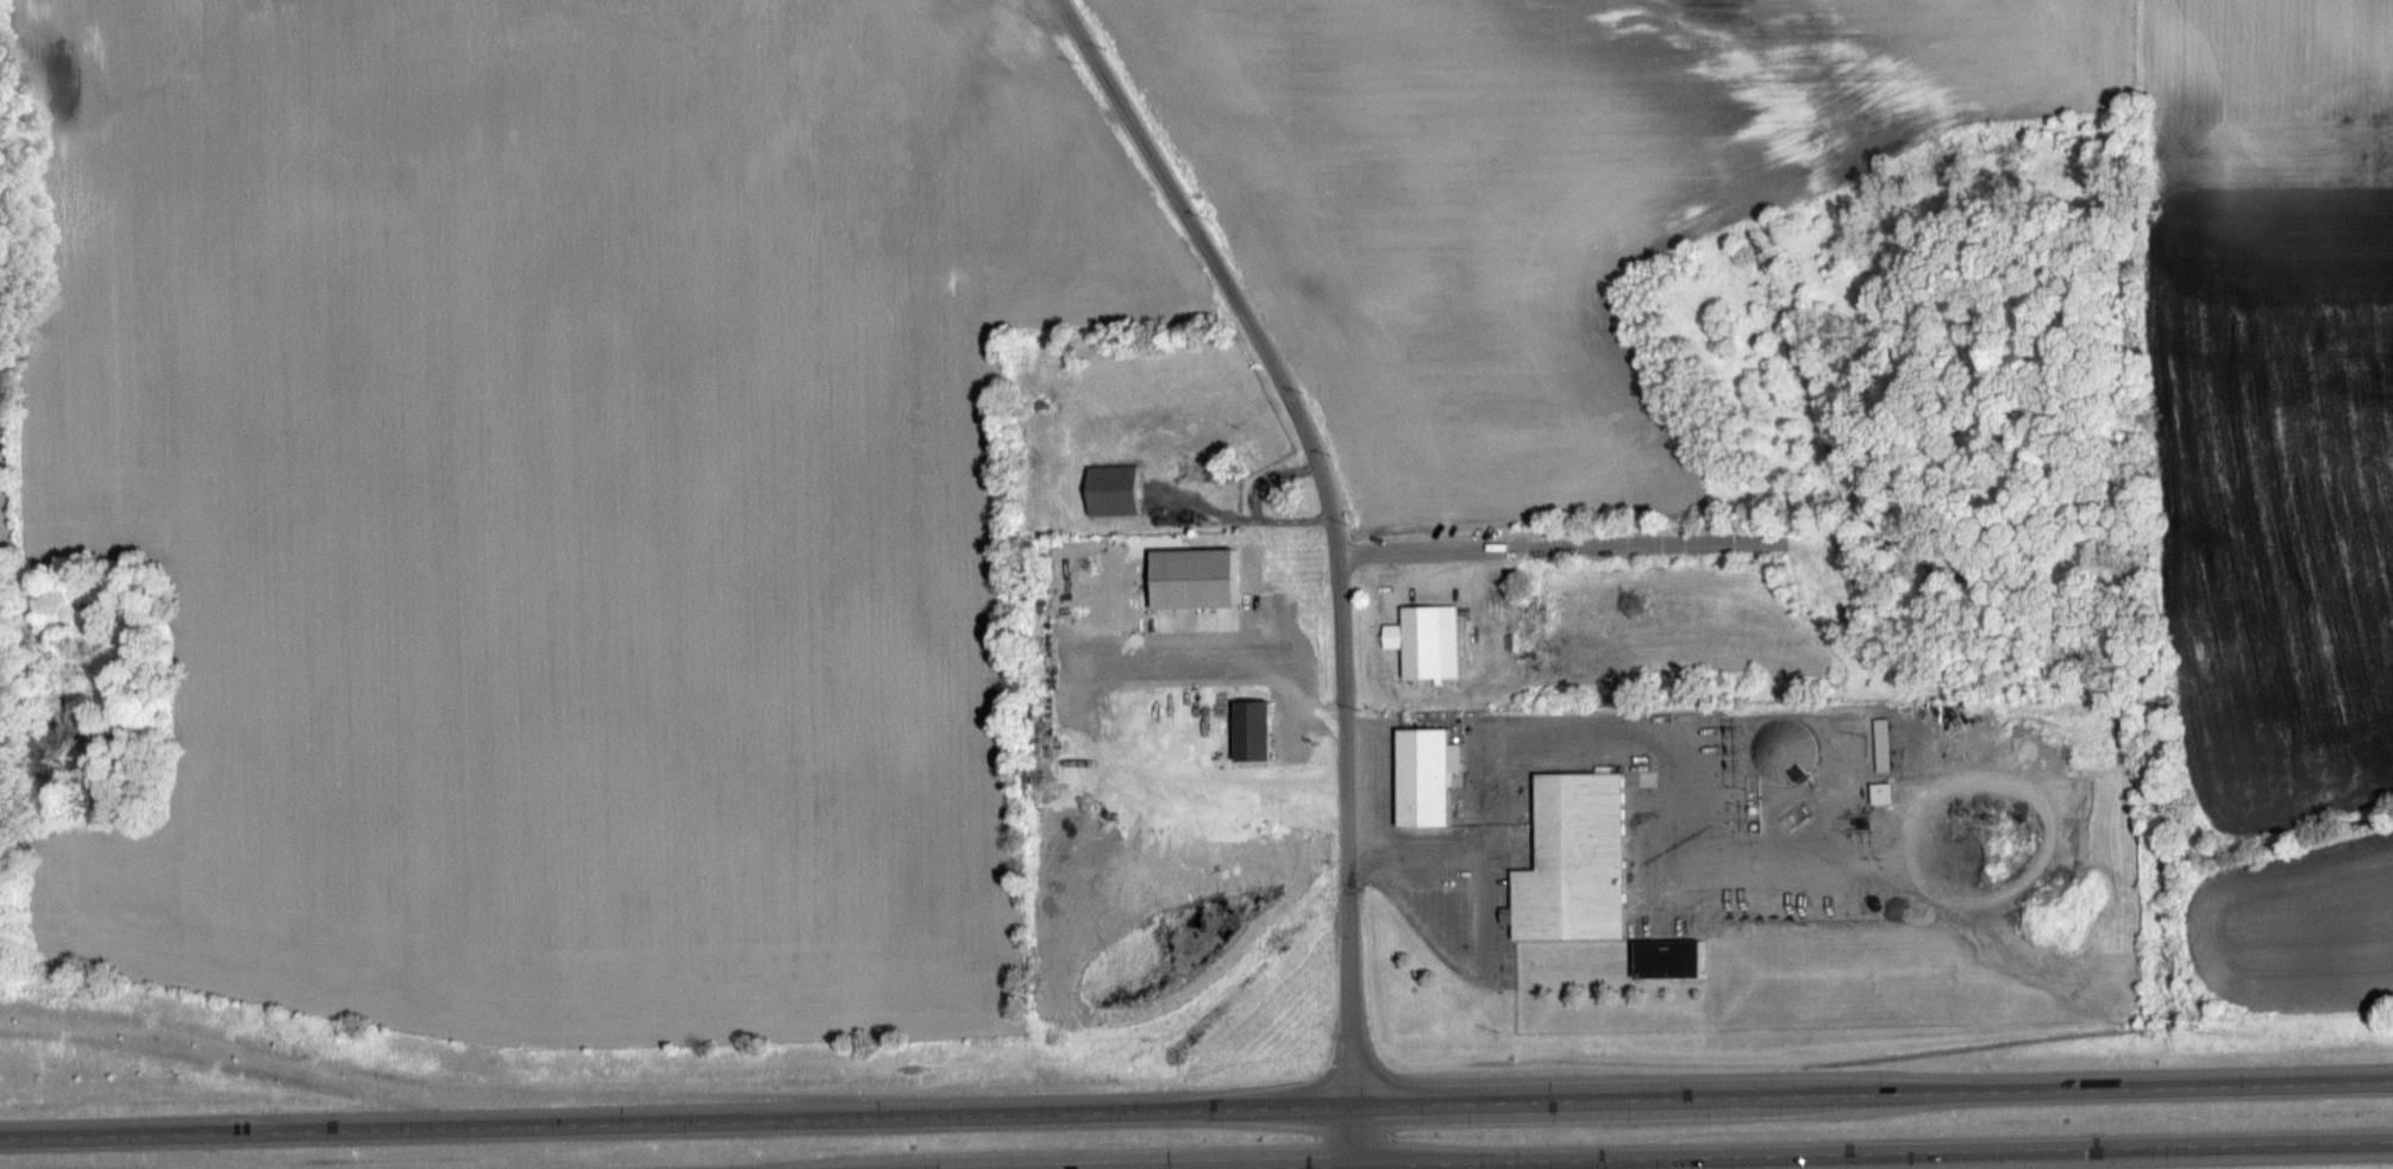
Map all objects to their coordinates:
building: (971, 35)
building: (1119, 489)
road: (1329, 517)
road: (1559, 545)
building: (1427, 640)
building: (1257, 730)
building: (1888, 744)
building: (1429, 776)
building: (1890, 793)
building: (1580, 861)
road: (1196, 1108)
road: (1349, 1136)
road: (1771, 1154)

